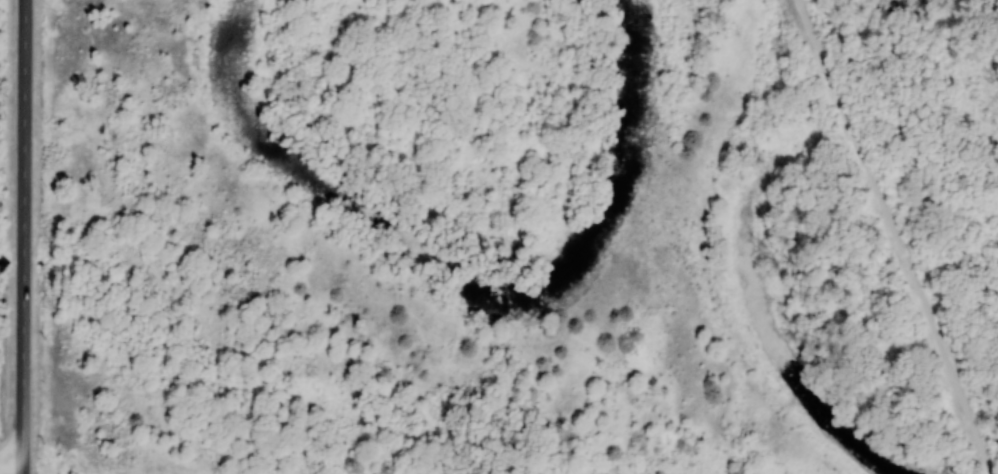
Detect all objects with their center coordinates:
road: (928, 22)
road: (24, 232)
road: (895, 237)
road: (11, 464)
park: (11, 468)
road: (22, 469)

